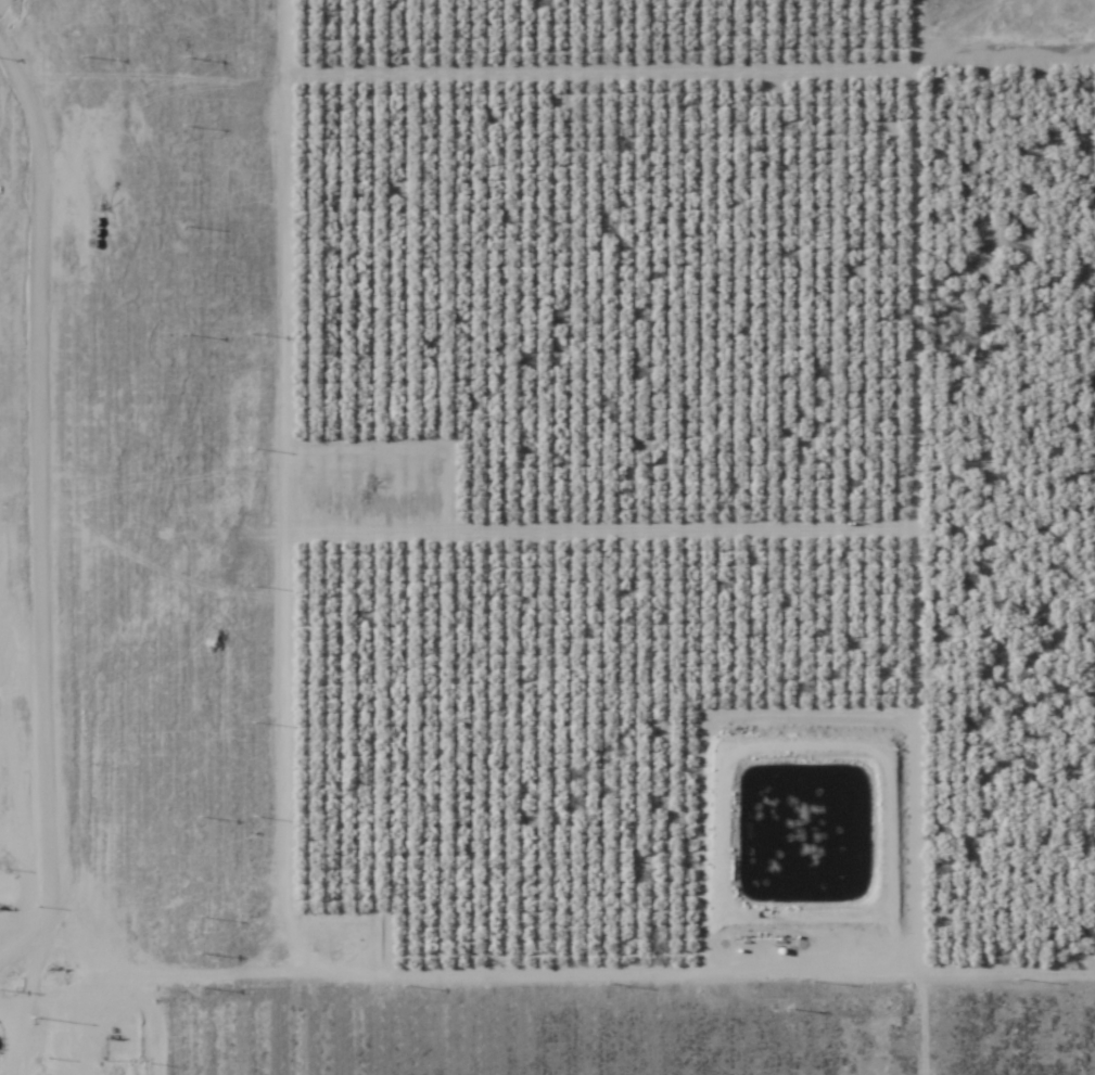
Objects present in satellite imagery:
road: (933, 1036)

